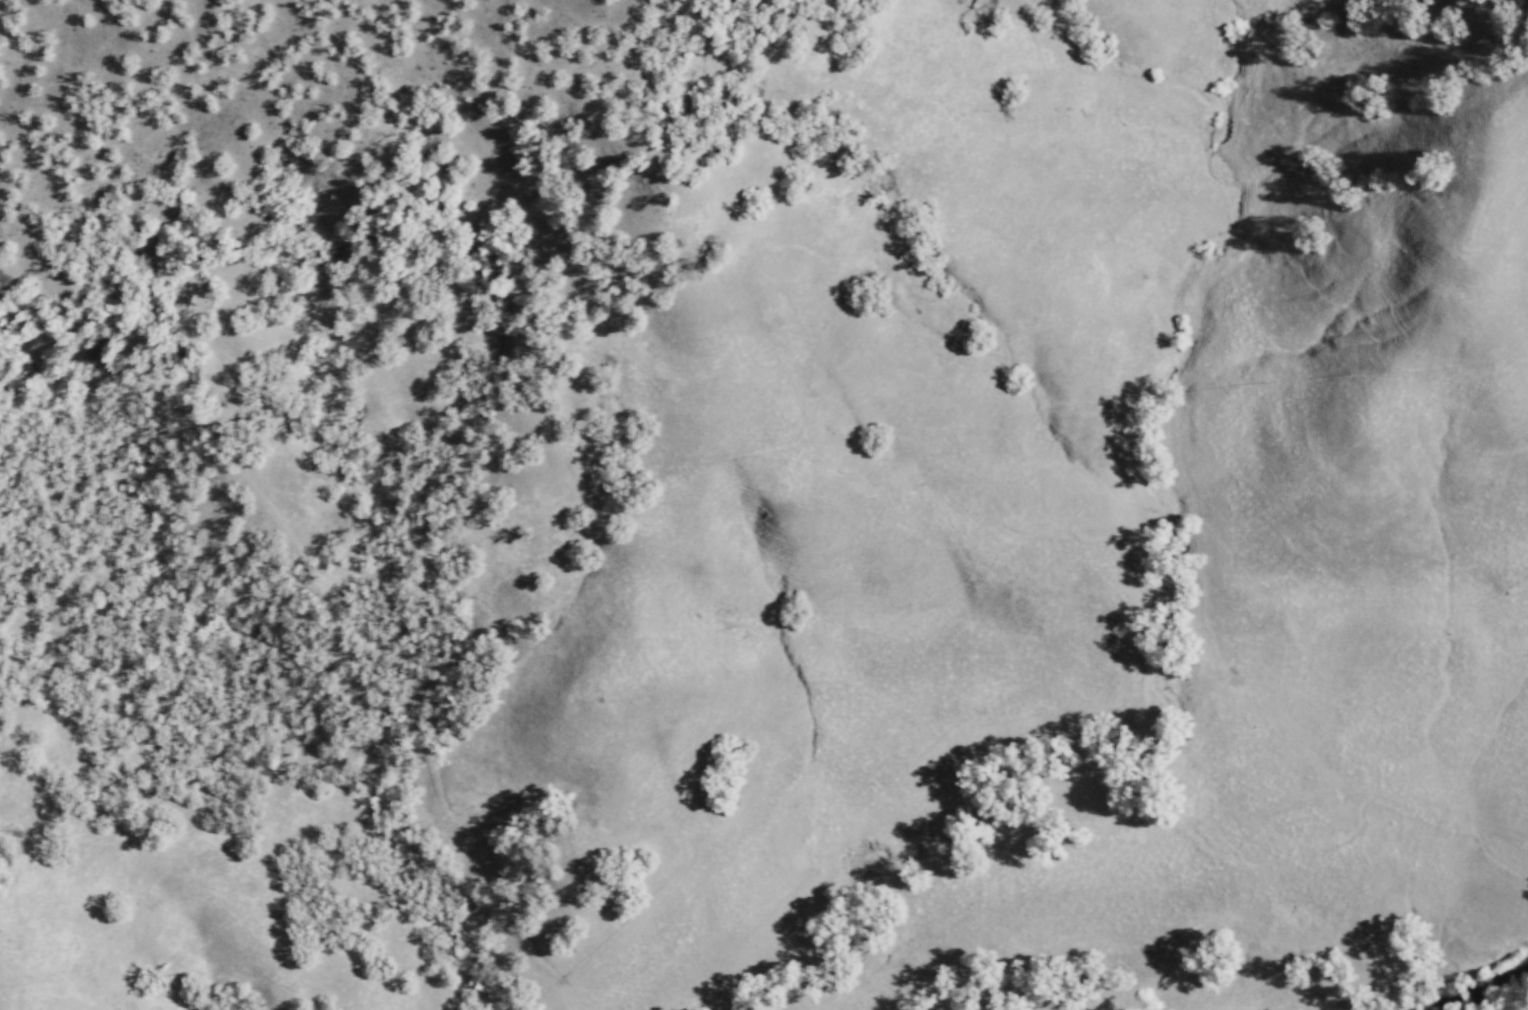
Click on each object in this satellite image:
river: (1490, 988)

